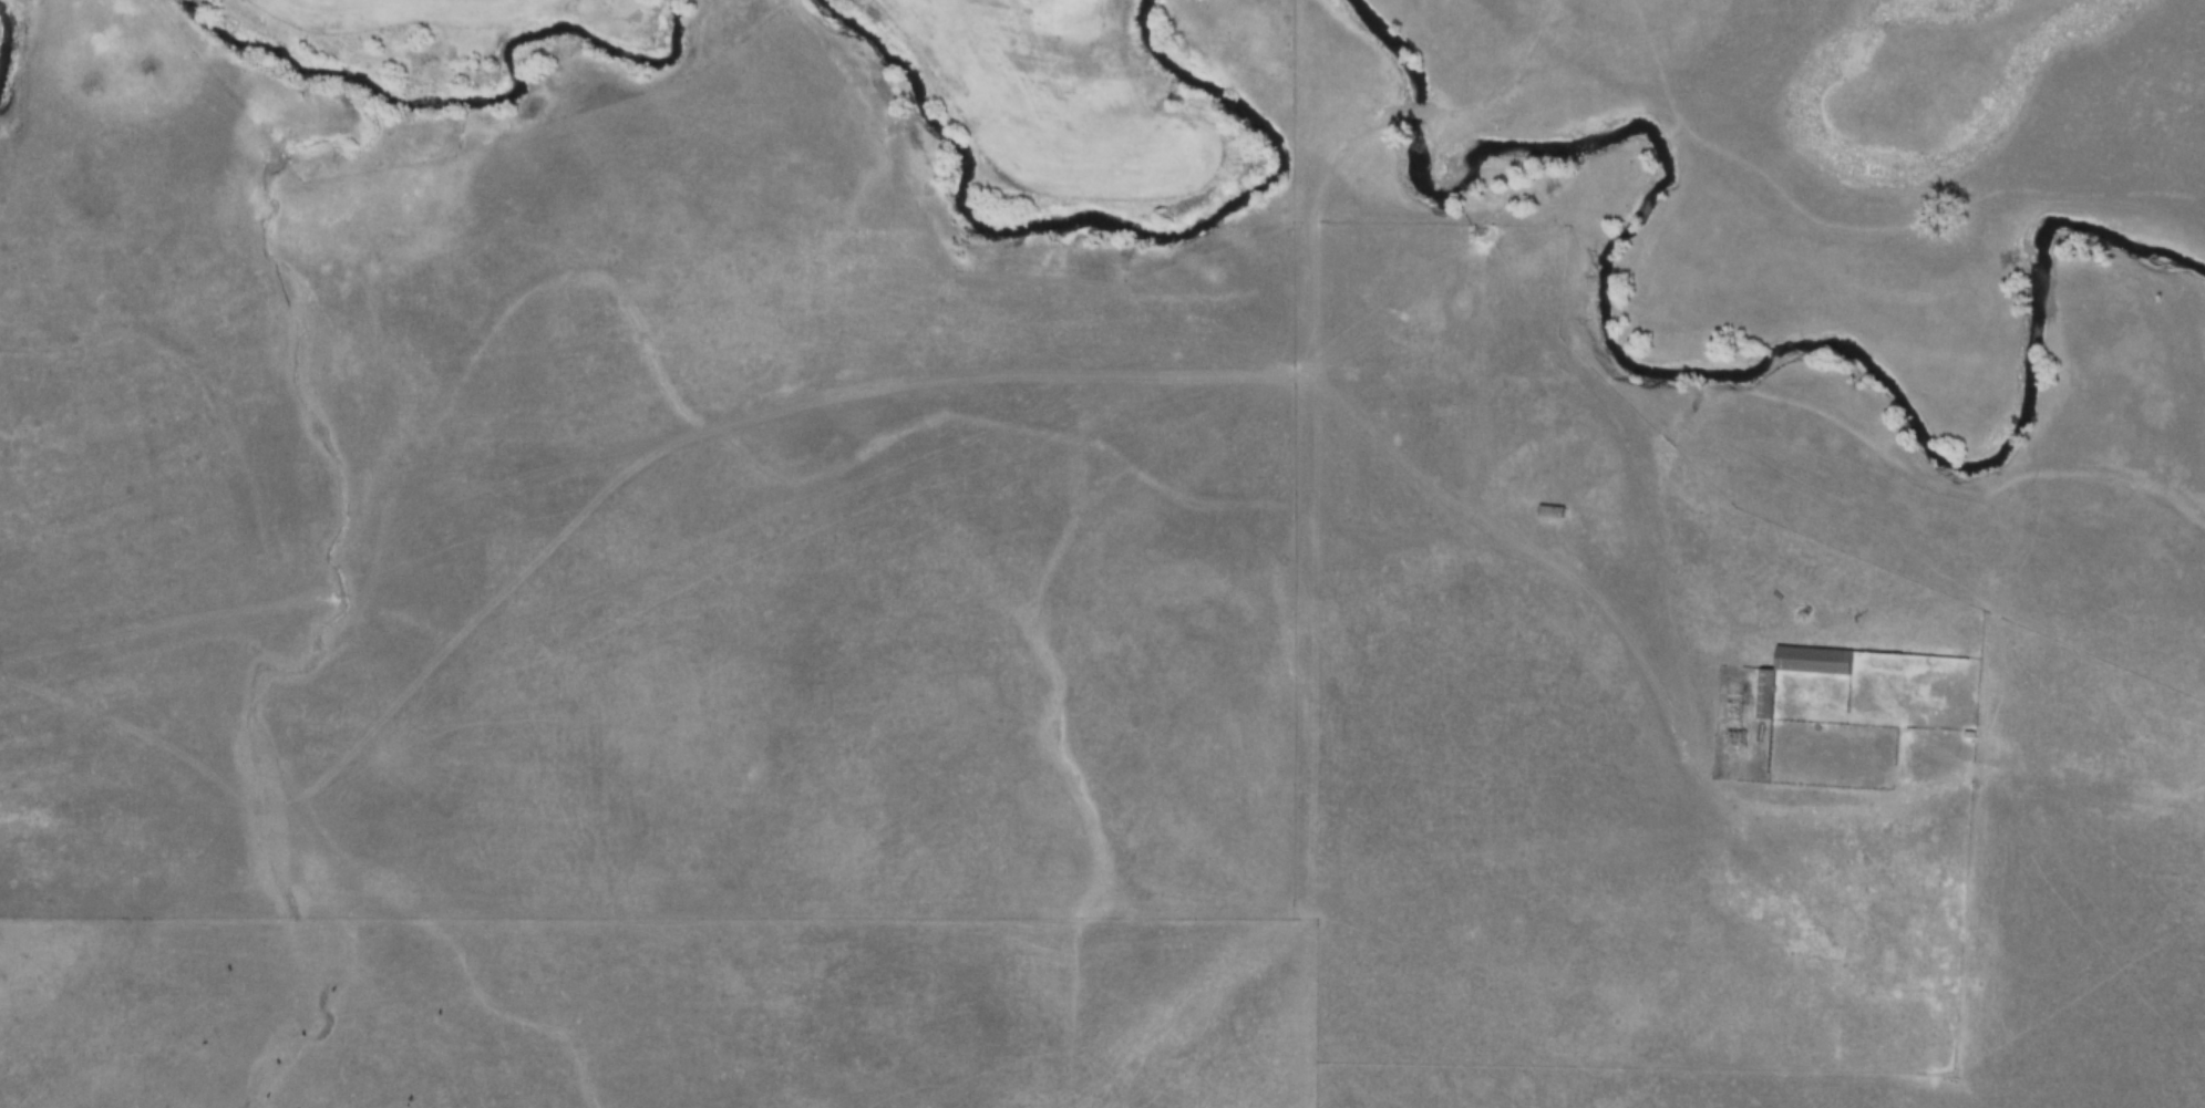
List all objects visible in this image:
building: (1552, 510)
building: (1805, 652)

